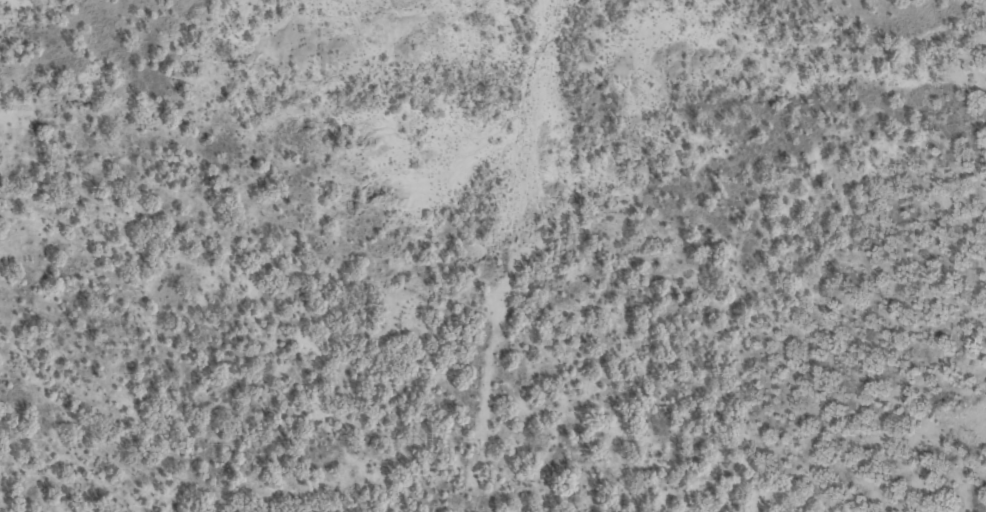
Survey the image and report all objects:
road: (413, 458)

